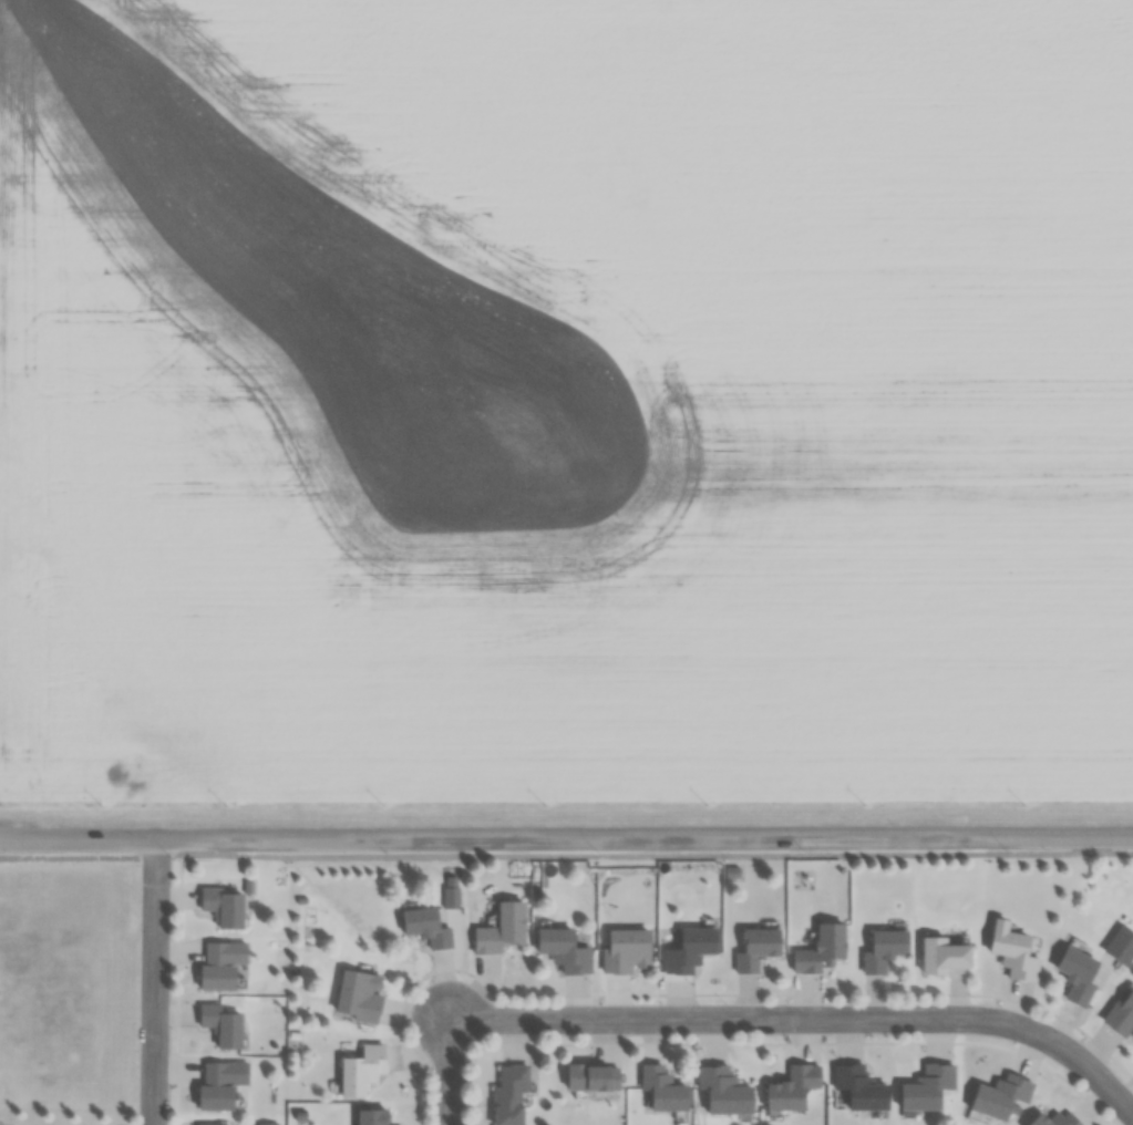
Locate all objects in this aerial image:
road: (566, 838)
road: (566, 856)
building: (450, 896)
building: (223, 906)
building: (424, 926)
building: (501, 928)
building: (755, 948)
building: (821, 948)
building: (563, 949)
building: (689, 949)
building: (883, 949)
building: (626, 950)
building: (1013, 953)
building: (940, 954)
building: (215, 966)
building: (1075, 973)
road: (154, 982)
building: (358, 994)
building: (1122, 1013)
road: (754, 1018)
building: (220, 1024)
building: (359, 1065)
building: (590, 1076)
building: (220, 1083)
building: (858, 1086)
building: (926, 1086)
building: (791, 1087)
building: (661, 1088)
building: (722, 1091)
building: (508, 1094)
building: (1000, 1096)
building: (370, 1116)
building: (1053, 1119)
building: (268, 1124)

